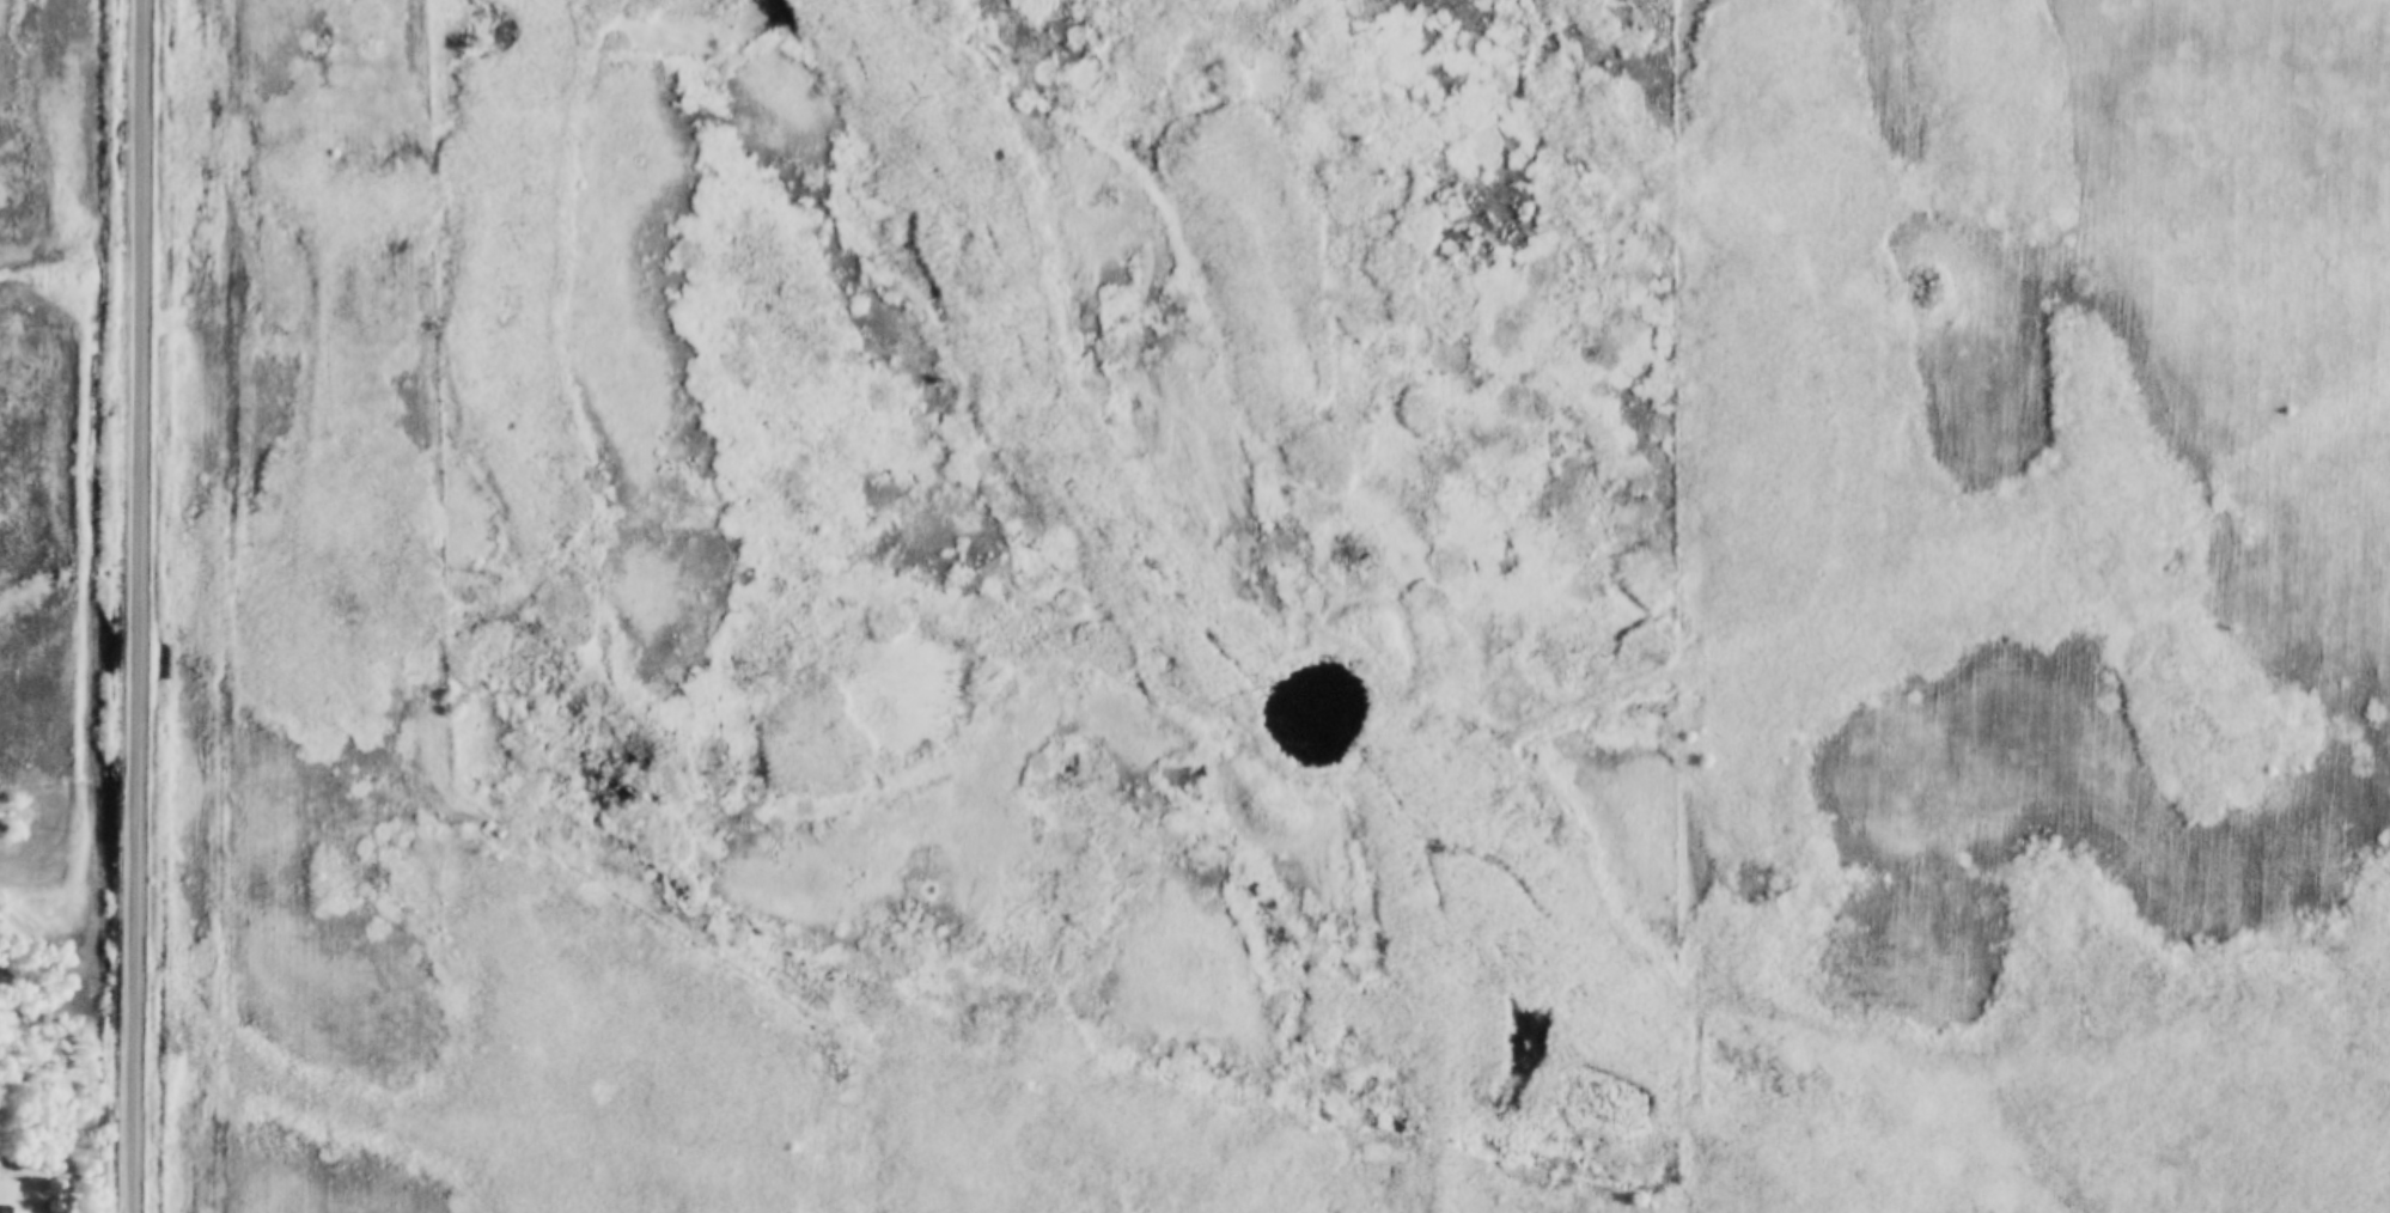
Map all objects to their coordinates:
road: (145, 605)
building: (5, 1208)

